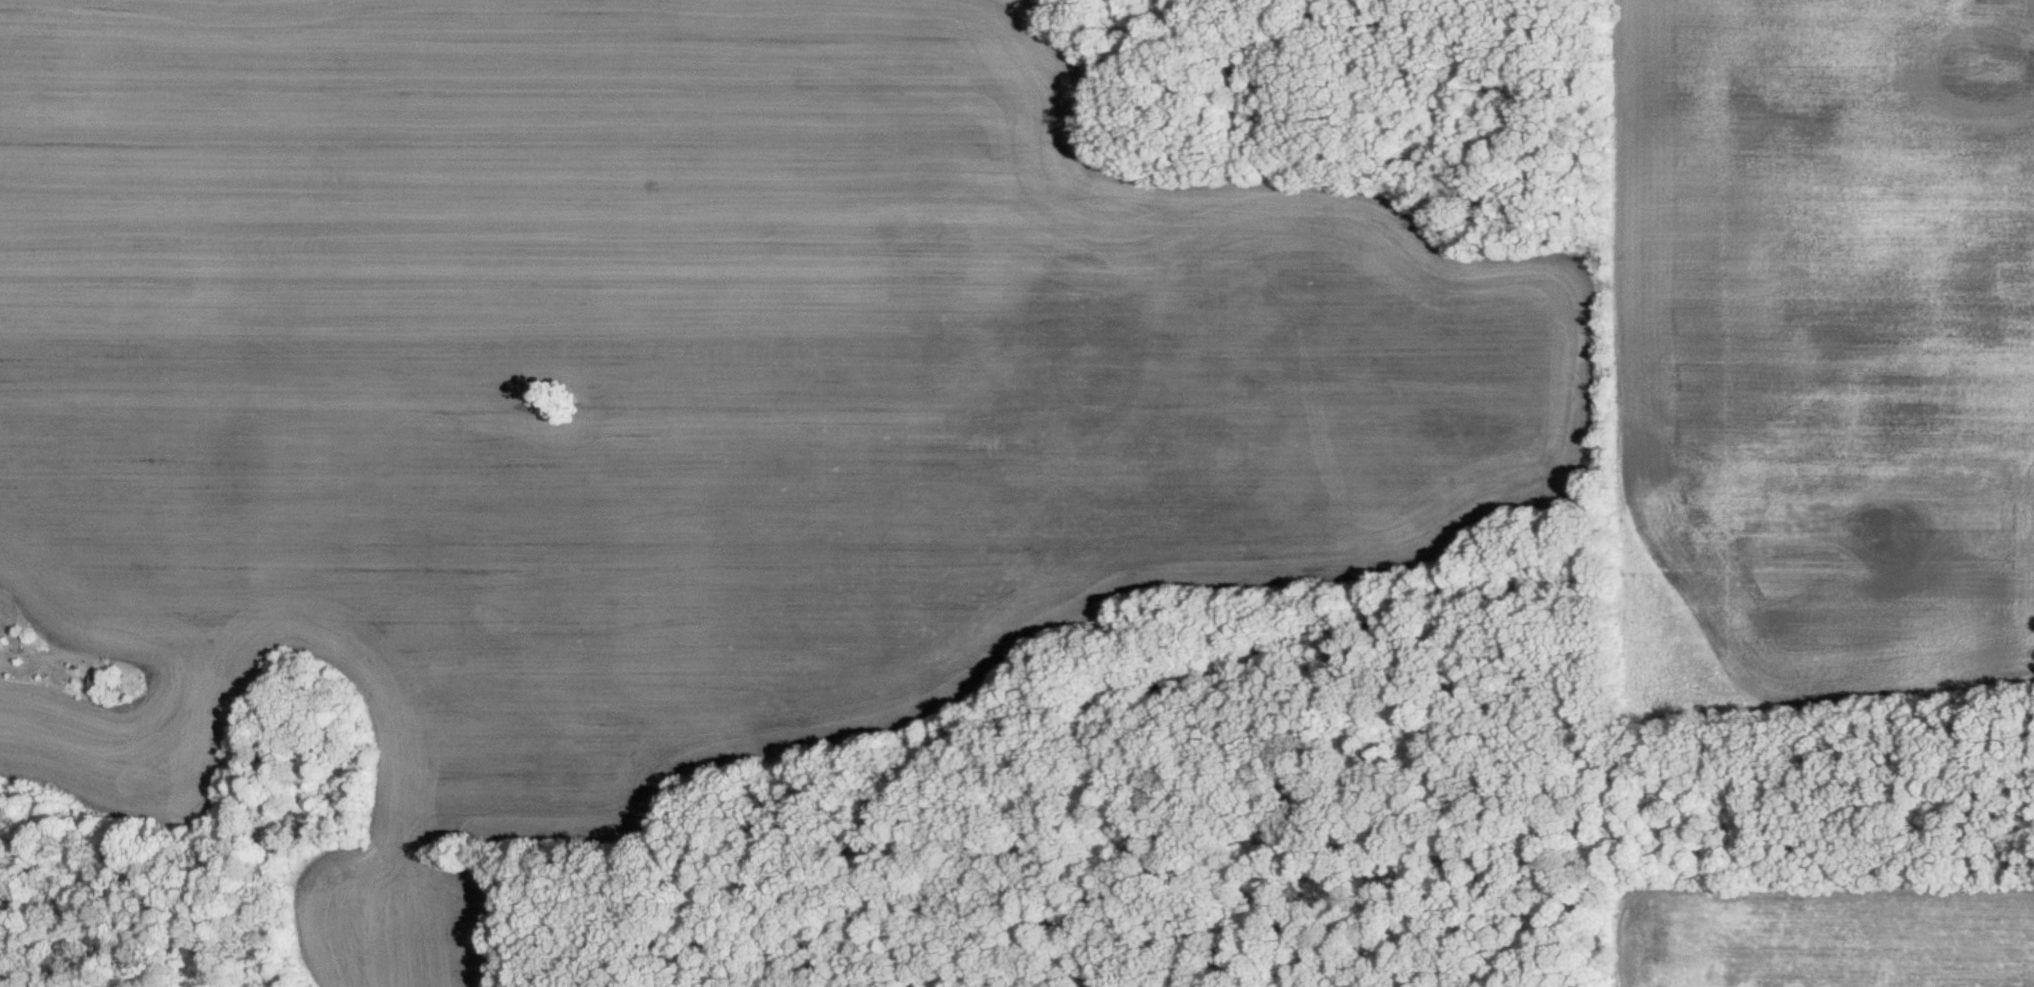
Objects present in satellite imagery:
building: (107, 687)

